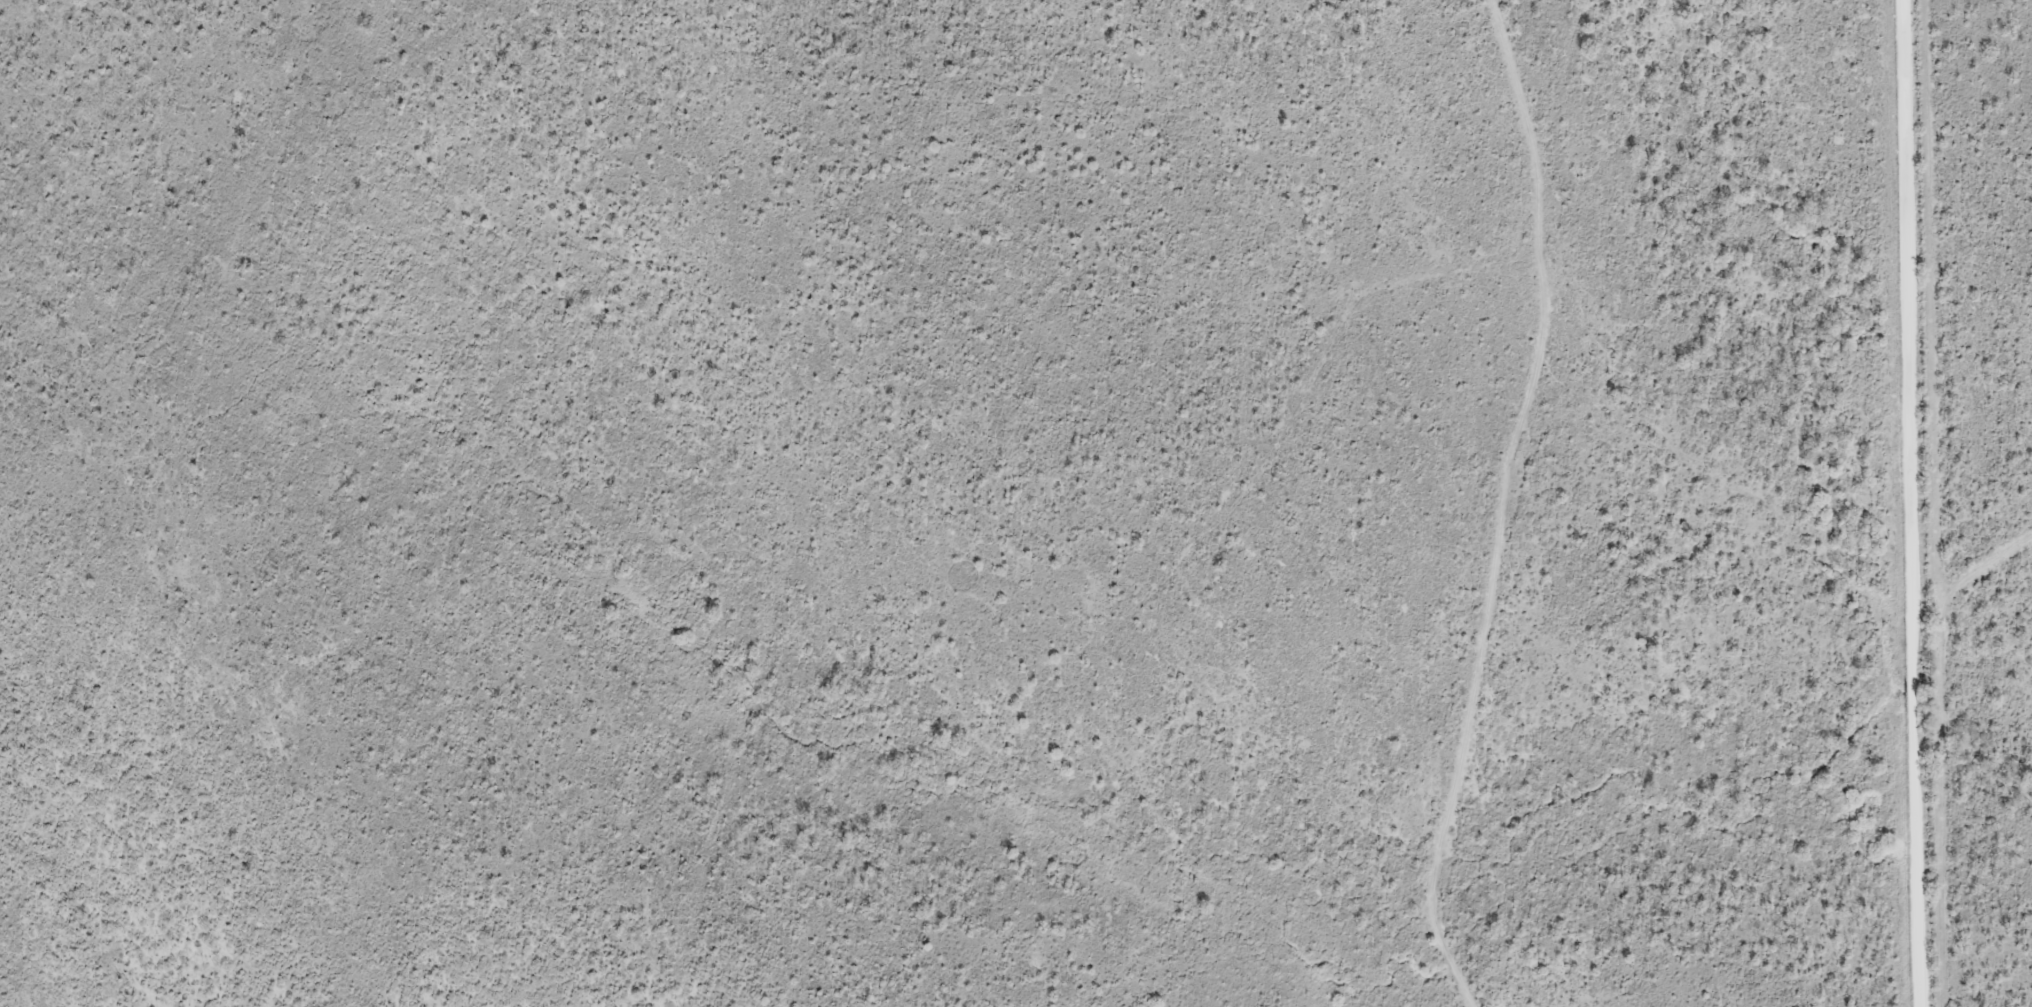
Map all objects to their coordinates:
road: (1912, 503)

